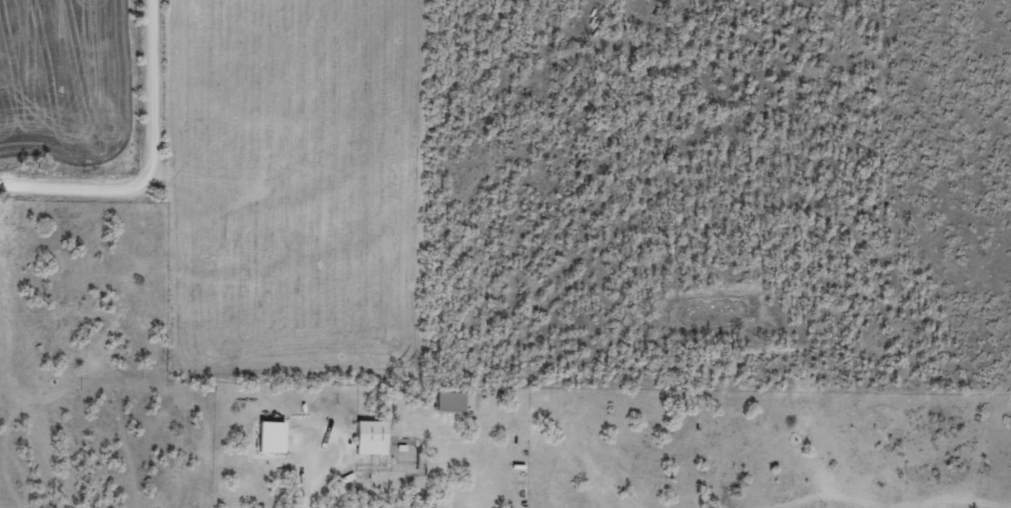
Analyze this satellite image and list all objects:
road: (106, 116)
building: (275, 435)
building: (375, 436)

